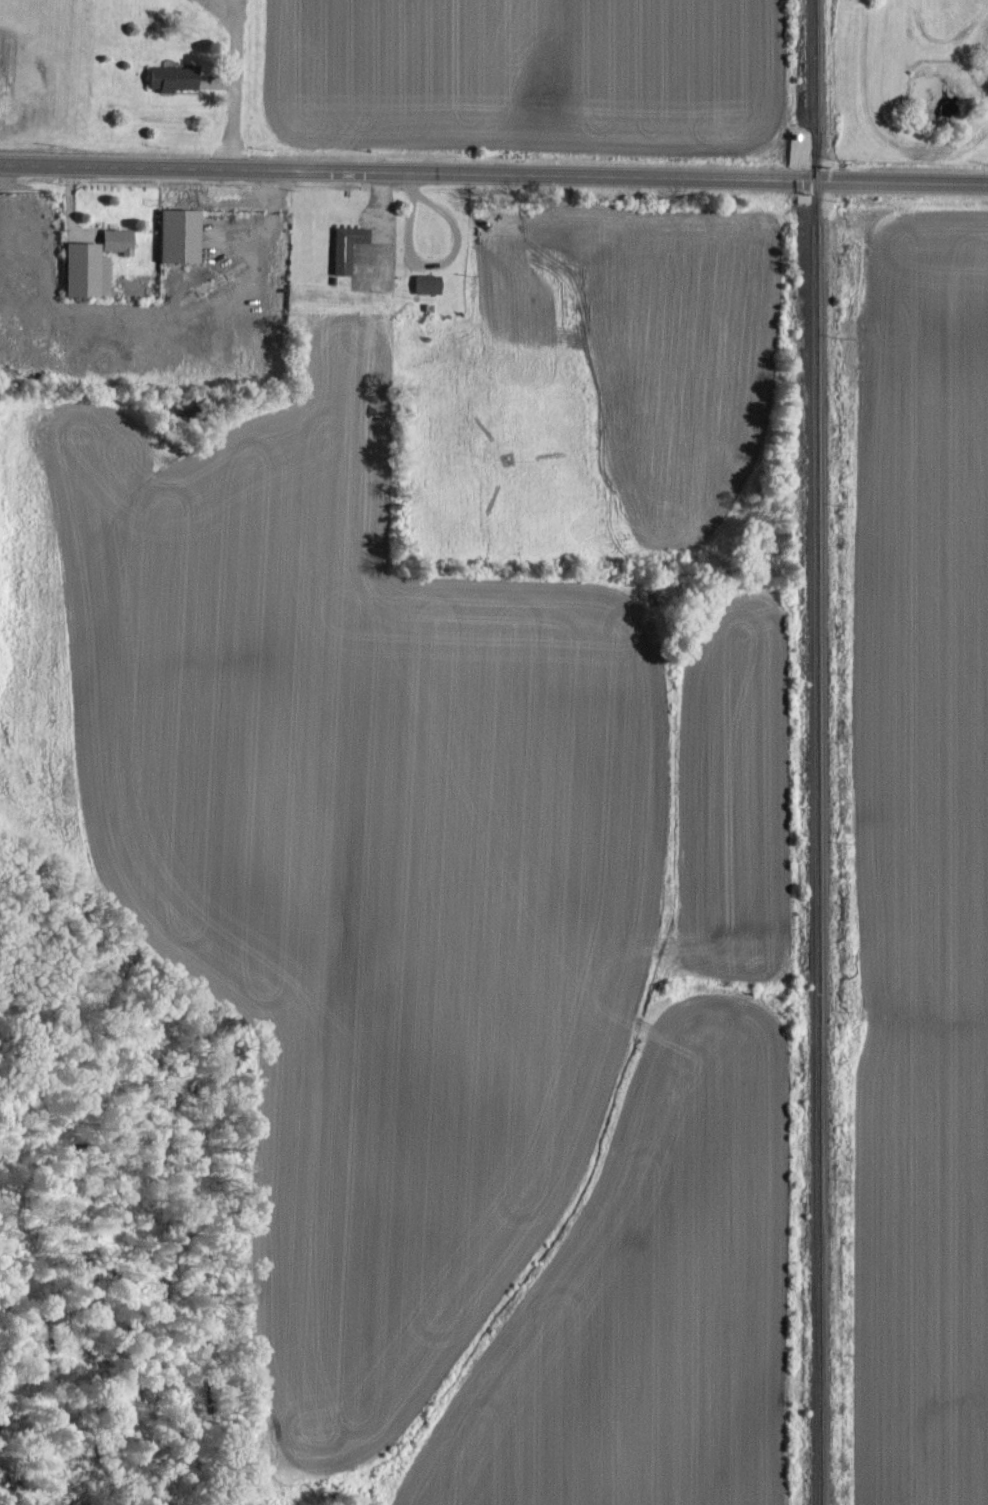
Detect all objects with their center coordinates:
building: (171, 77)
road: (234, 84)
road: (494, 173)
building: (177, 234)
building: (115, 240)
building: (345, 246)
building: (425, 283)
railway: (817, 752)

